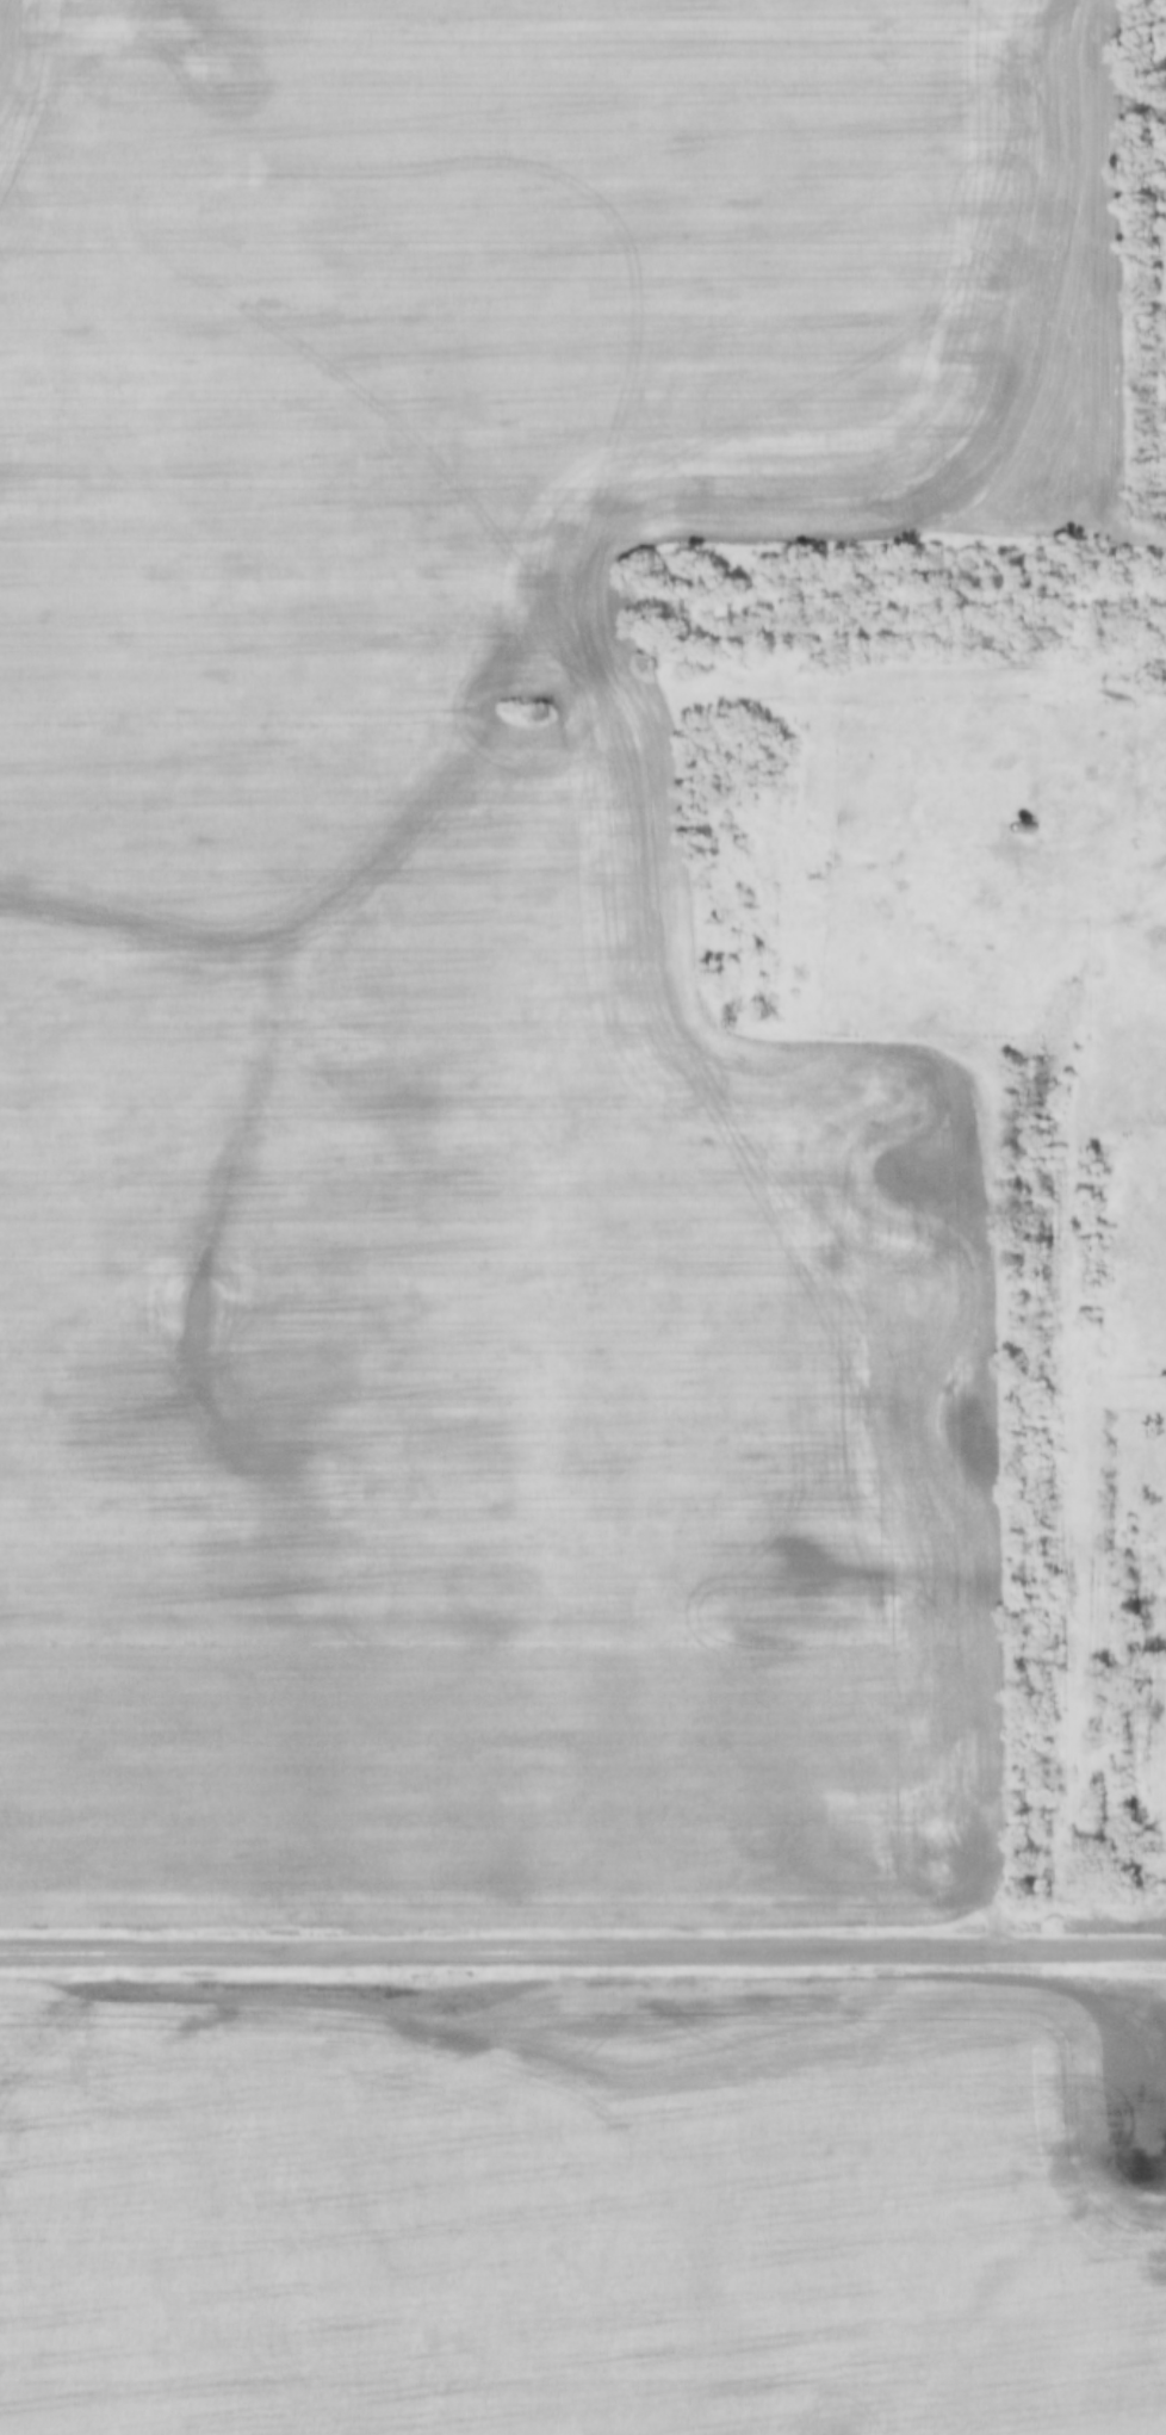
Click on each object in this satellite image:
building: (1017, 786)
building: (837, 818)
road: (1115, 863)
building: (1156, 936)
road: (583, 1953)

